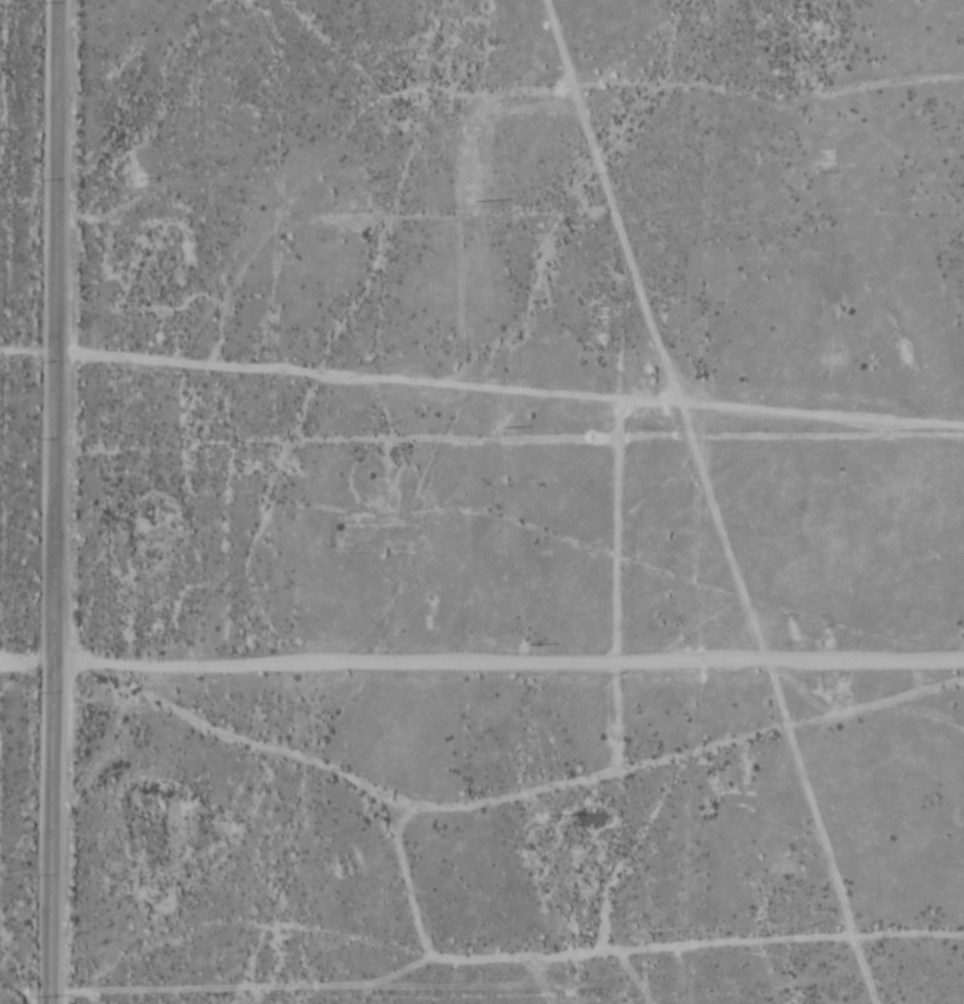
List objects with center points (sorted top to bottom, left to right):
road: (46, 501)

